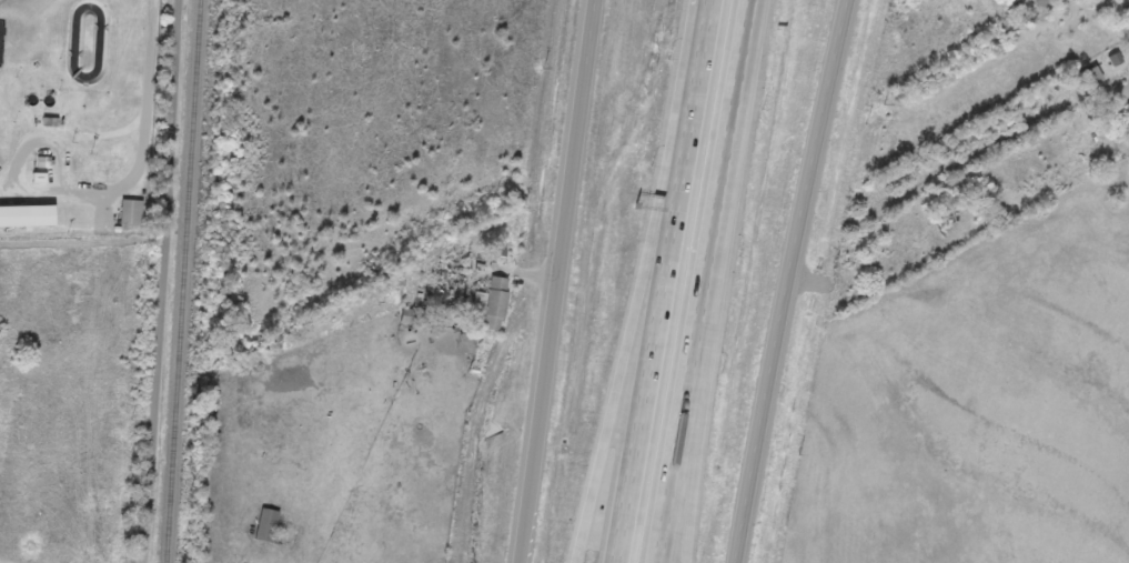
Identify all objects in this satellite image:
building: (1090, 76)
road: (736, 101)
building: (129, 212)
road: (785, 280)
road: (165, 281)
railway: (182, 281)
road: (554, 281)
road: (664, 281)
building: (443, 283)
road: (642, 283)
building: (492, 302)
building: (488, 356)
road: (685, 382)
road: (700, 382)
building: (266, 524)

